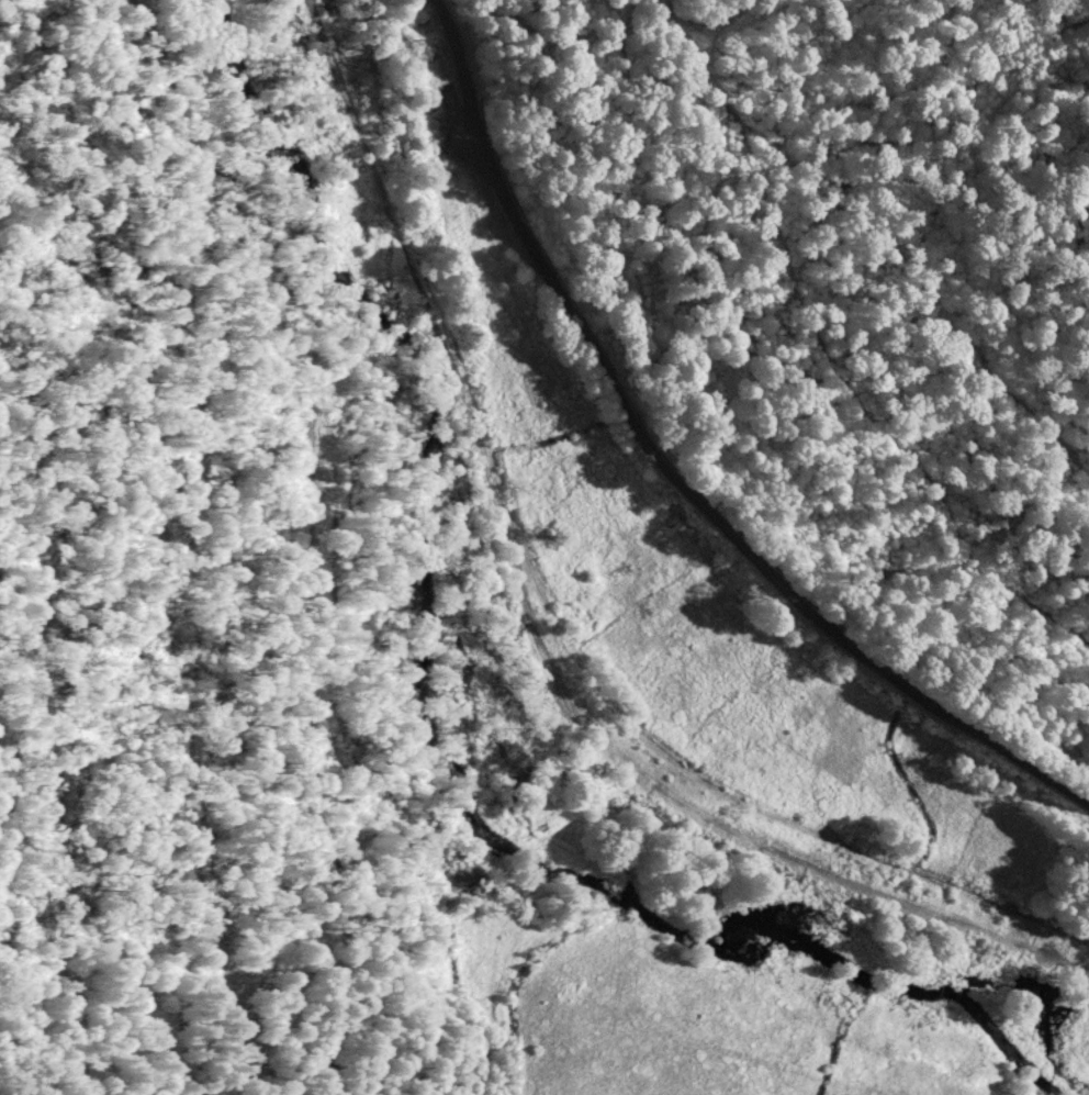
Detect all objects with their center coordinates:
railway: (461, 399)
road: (673, 471)
road: (770, 843)
railway: (868, 872)

